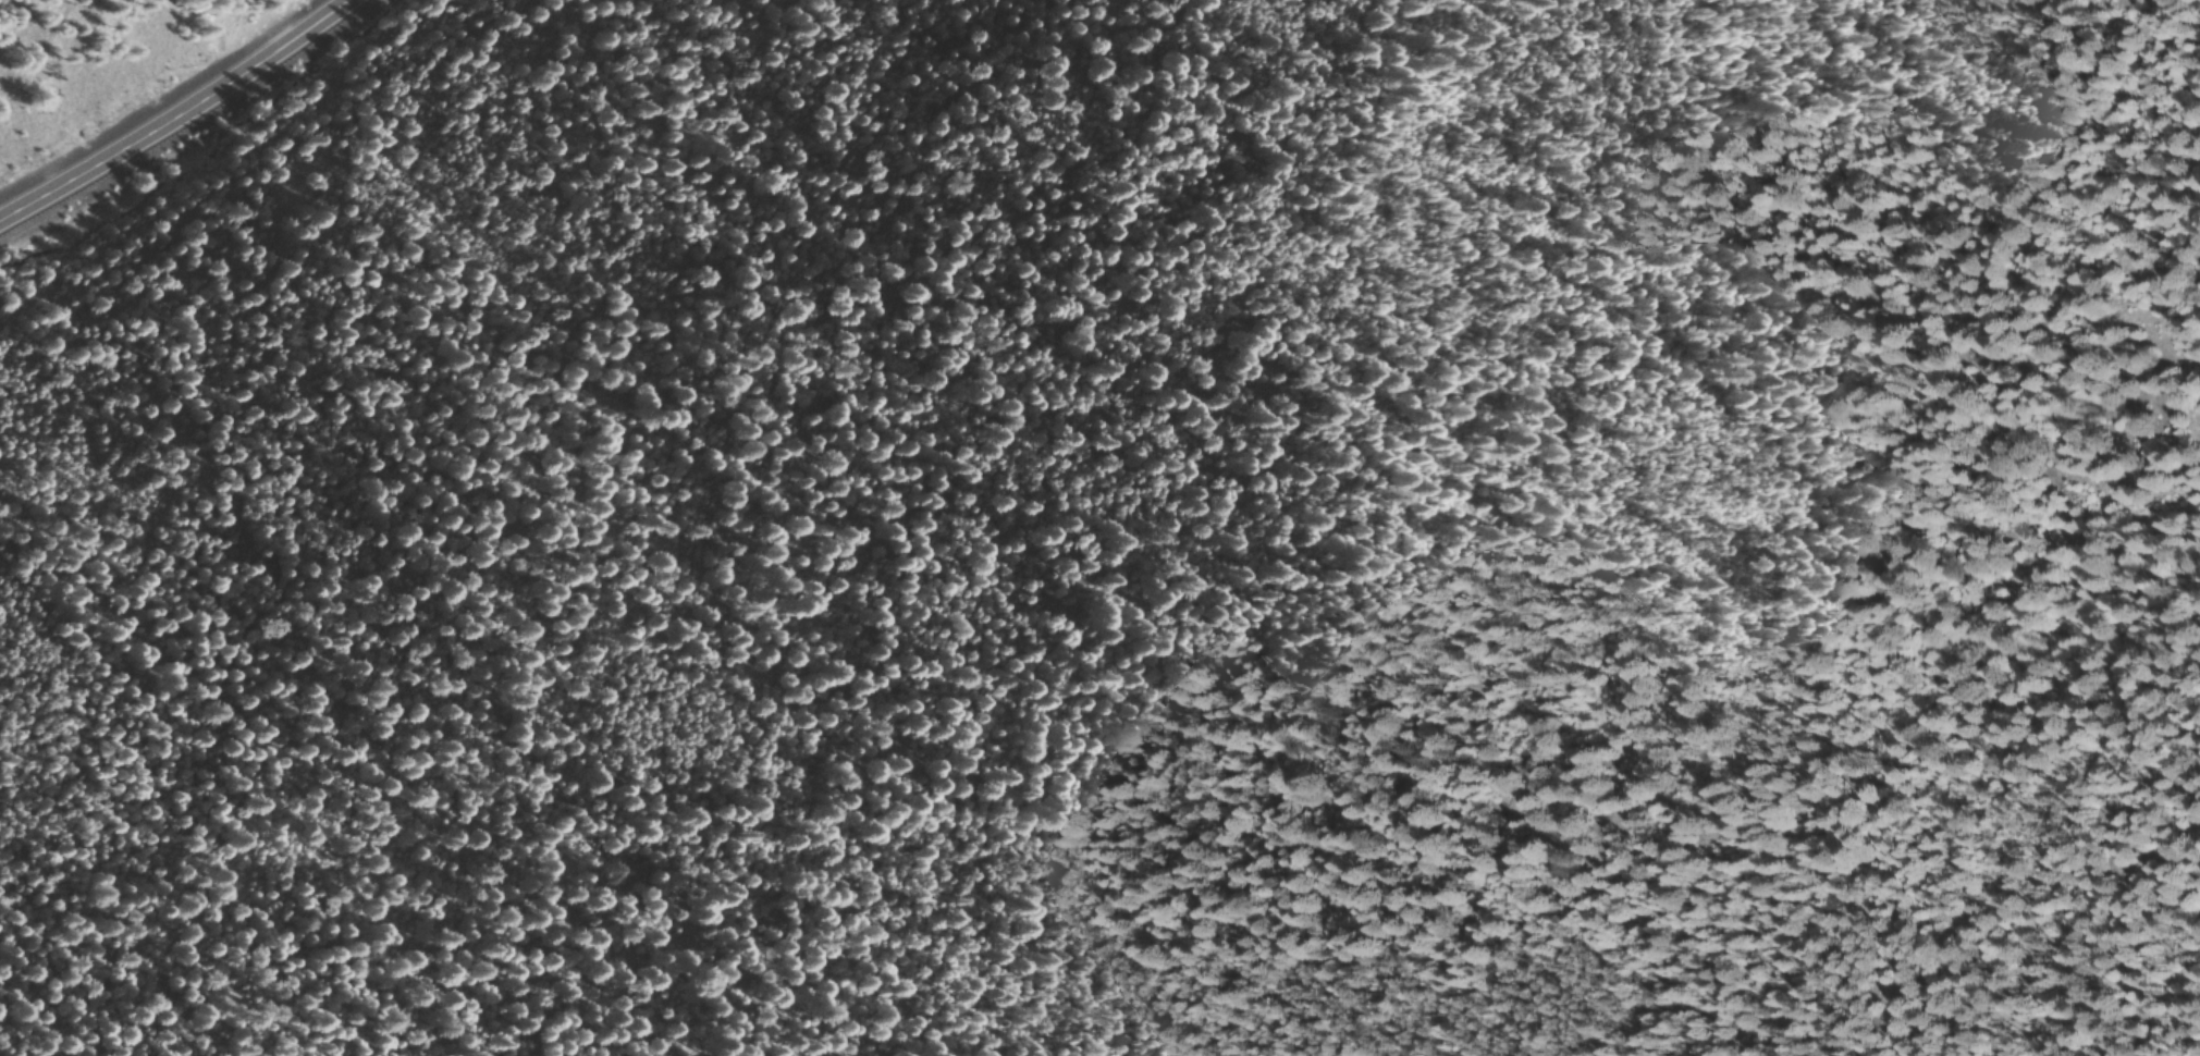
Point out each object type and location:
road: (193, 122)

